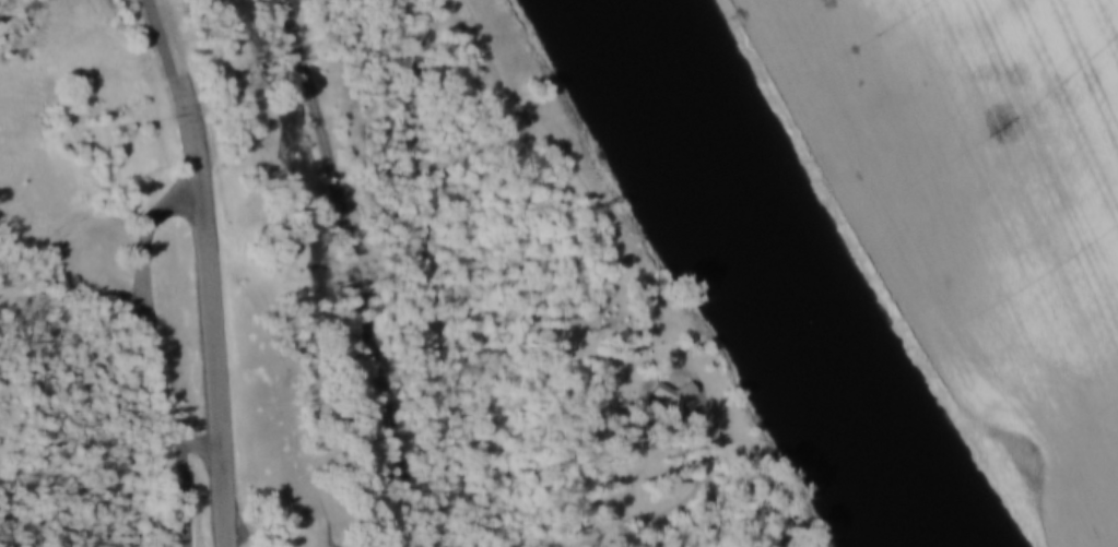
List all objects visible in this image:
road: (562, 169)
road: (145, 259)
railway: (364, 273)
river: (770, 274)
park: (390, 290)
road: (215, 365)
building: (671, 395)

